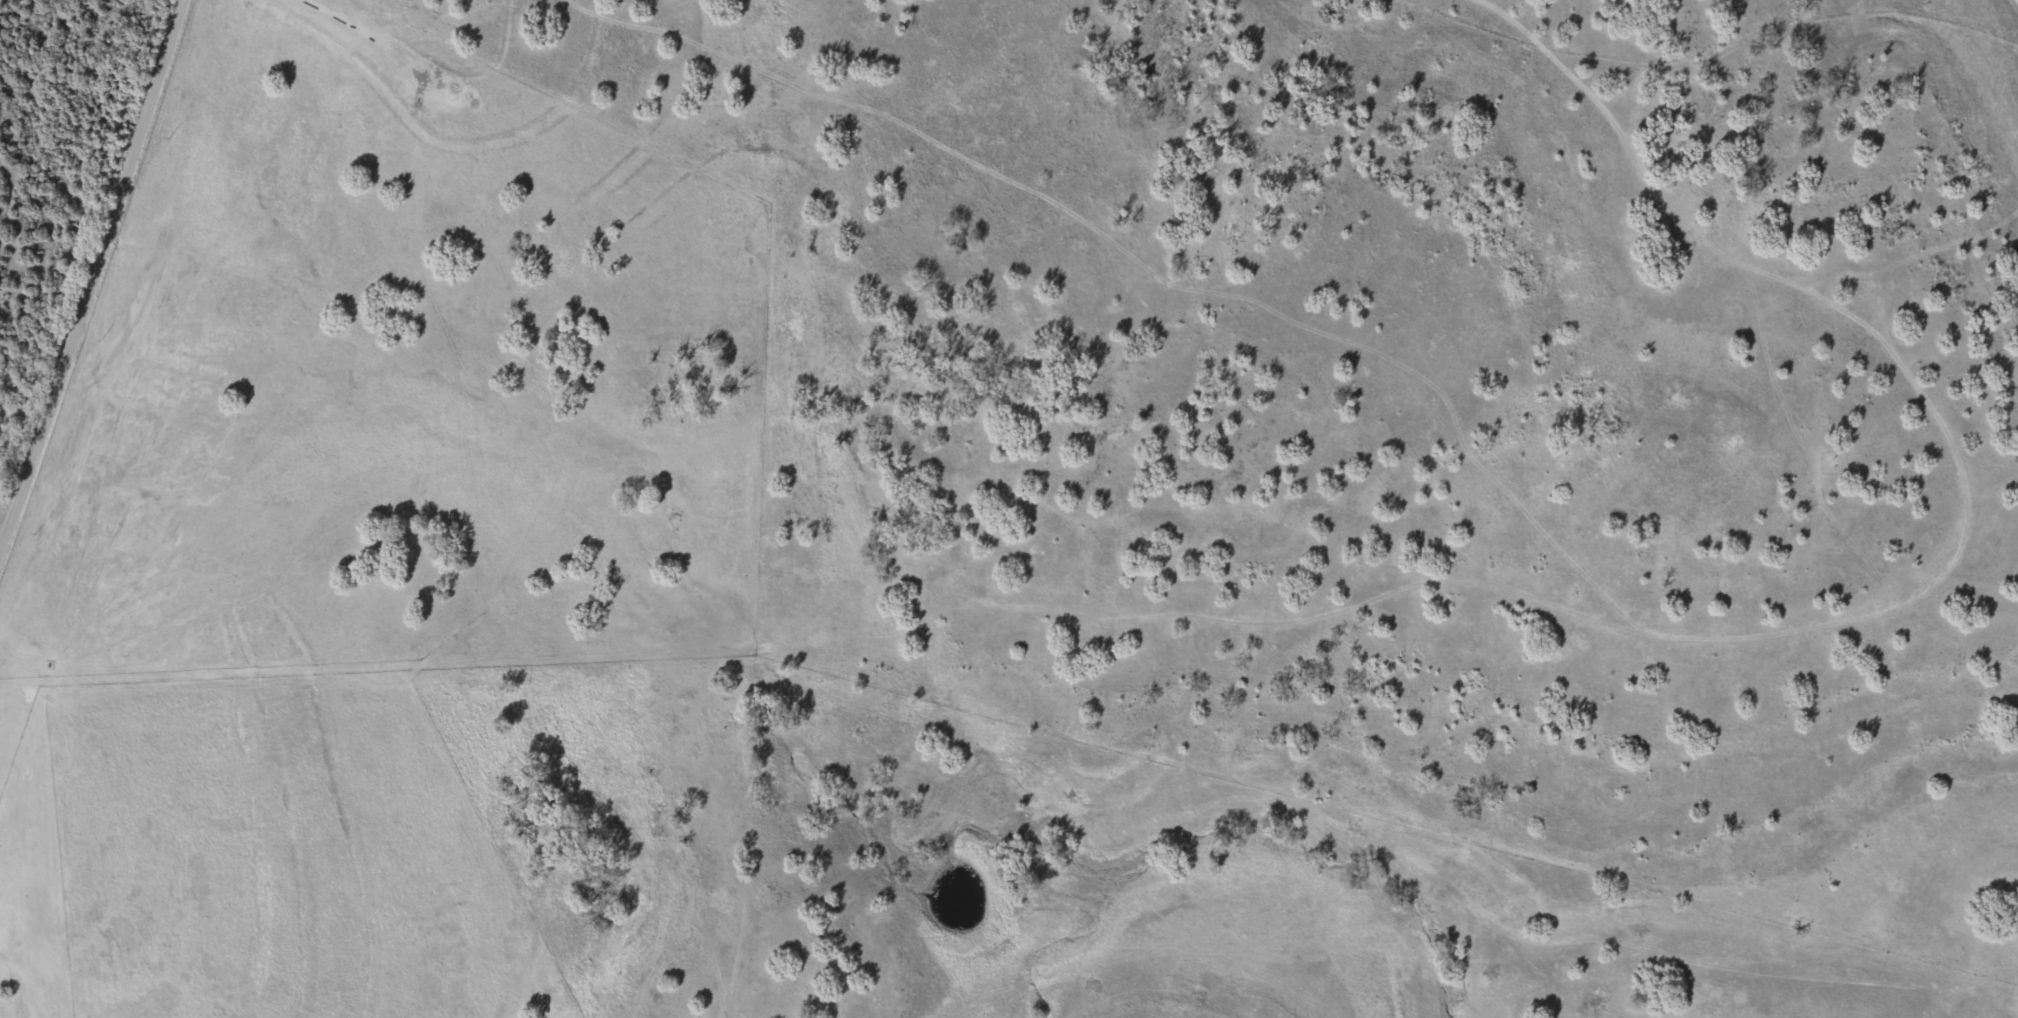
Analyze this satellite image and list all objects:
road: (89, 263)

